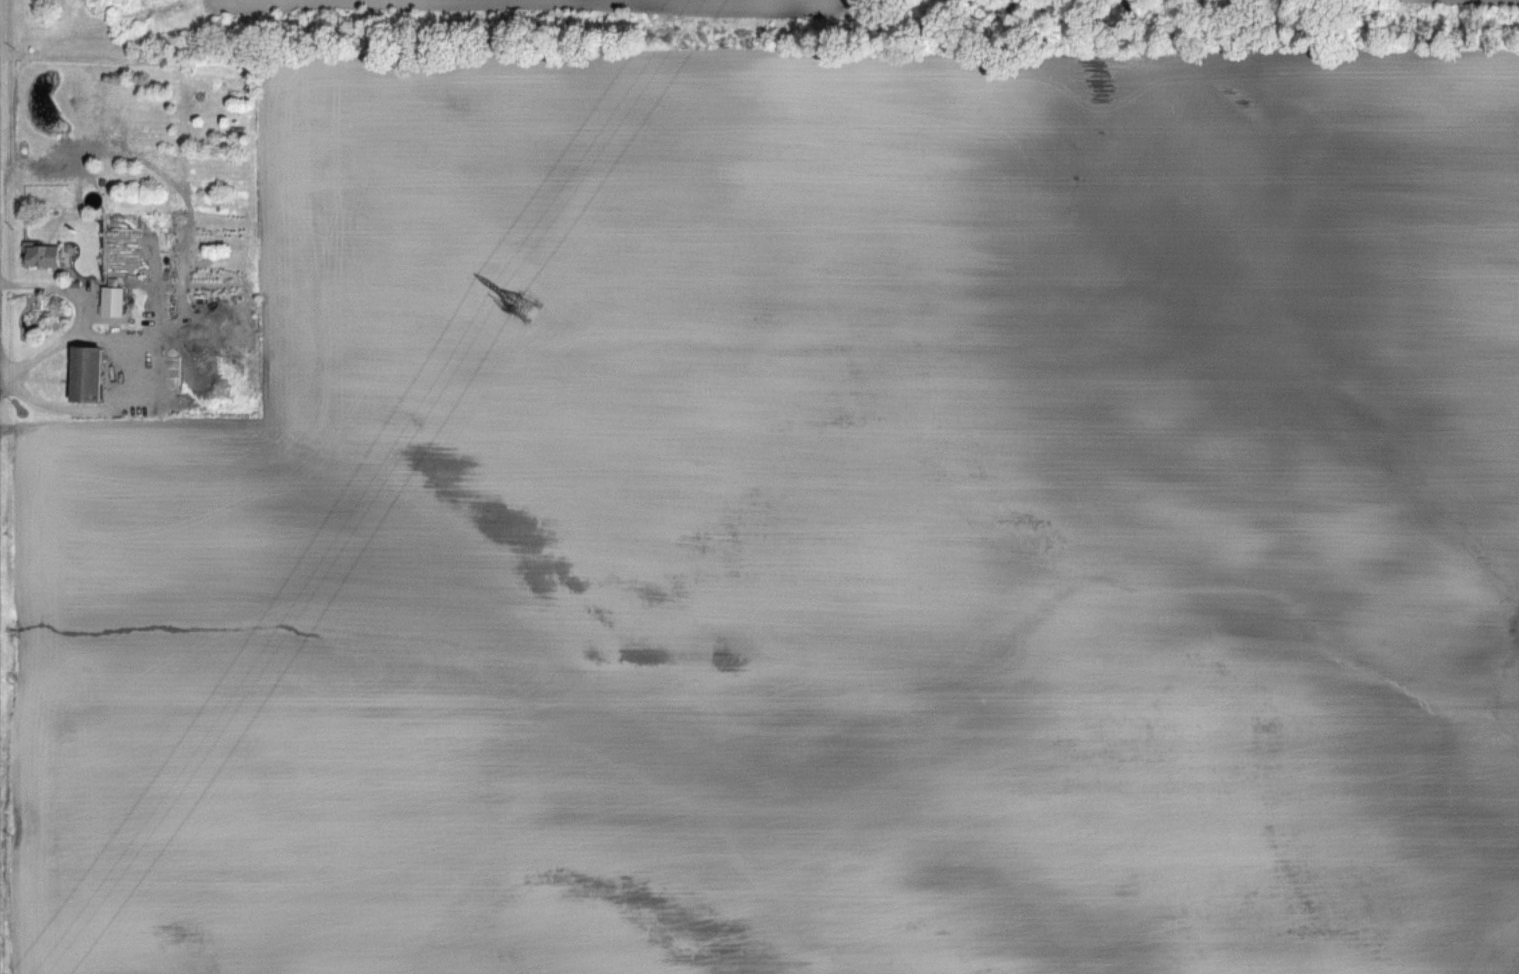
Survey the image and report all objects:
building: (40, 253)
building: (112, 300)
road: (85, 313)
power tower: (513, 319)
building: (86, 372)
road: (114, 402)

